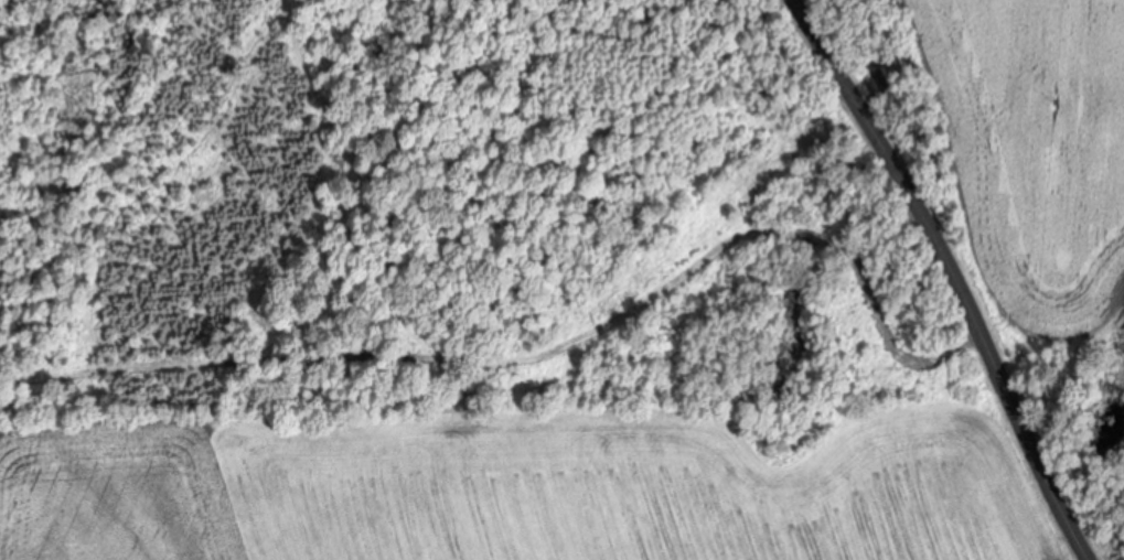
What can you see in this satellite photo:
road: (955, 273)

